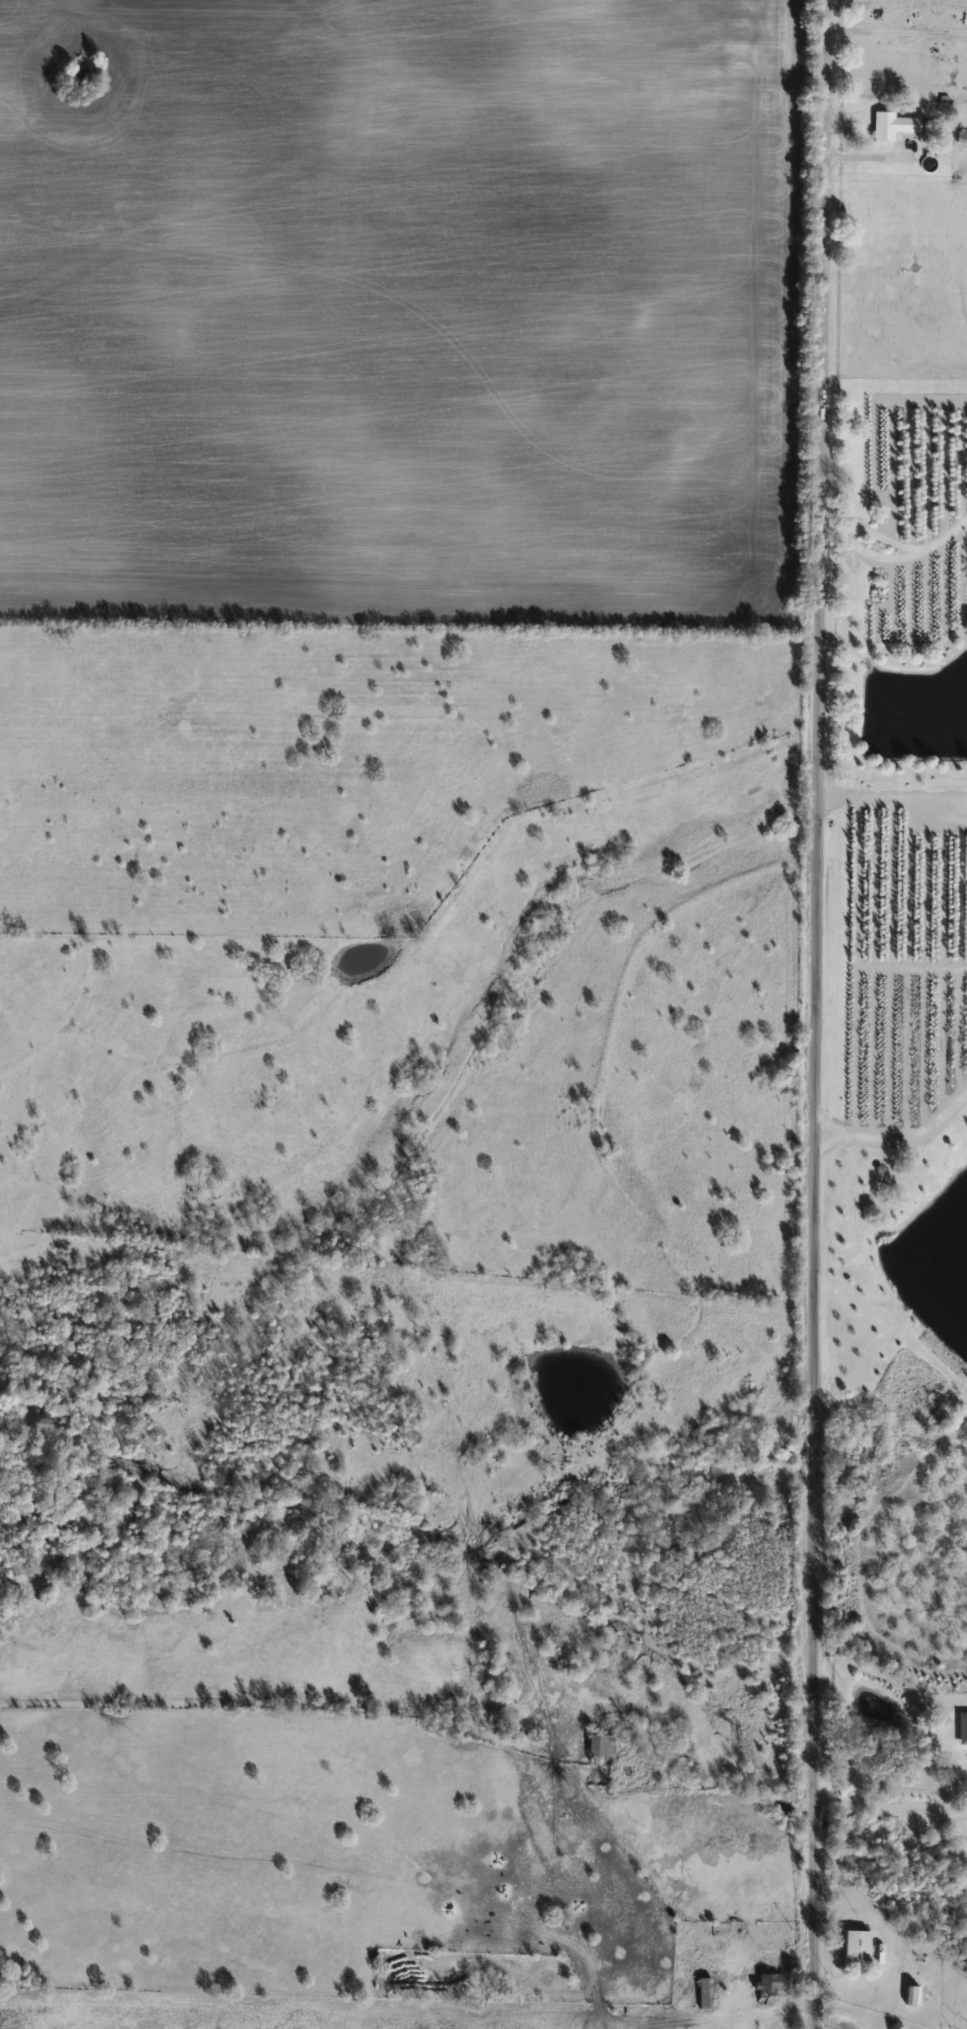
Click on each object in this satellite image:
road: (896, 38)
building: (890, 127)
road: (897, 551)
road: (892, 799)
road: (816, 1014)
road: (900, 1138)
building: (599, 1750)
road: (889, 1780)
road: (891, 1808)
building: (852, 1950)
building: (765, 1988)
building: (702, 1994)

